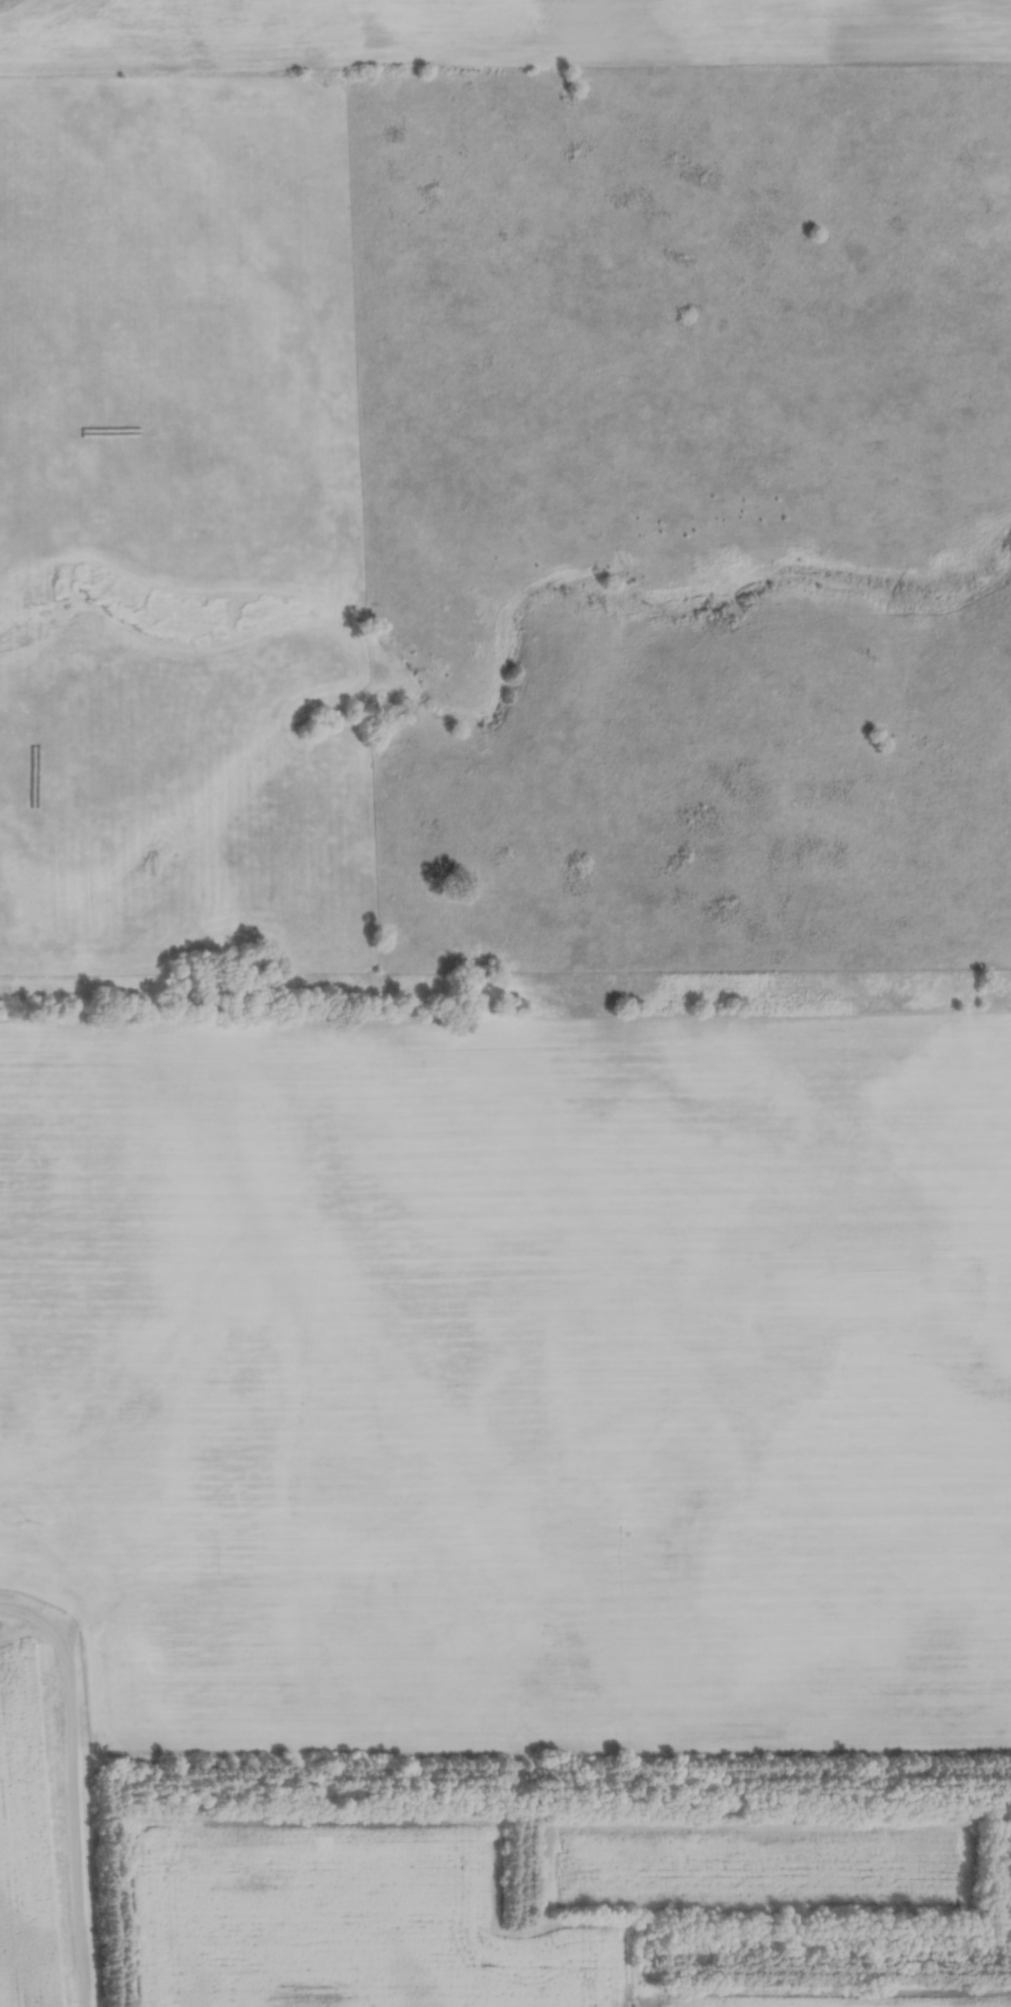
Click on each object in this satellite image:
road: (73, 1789)

